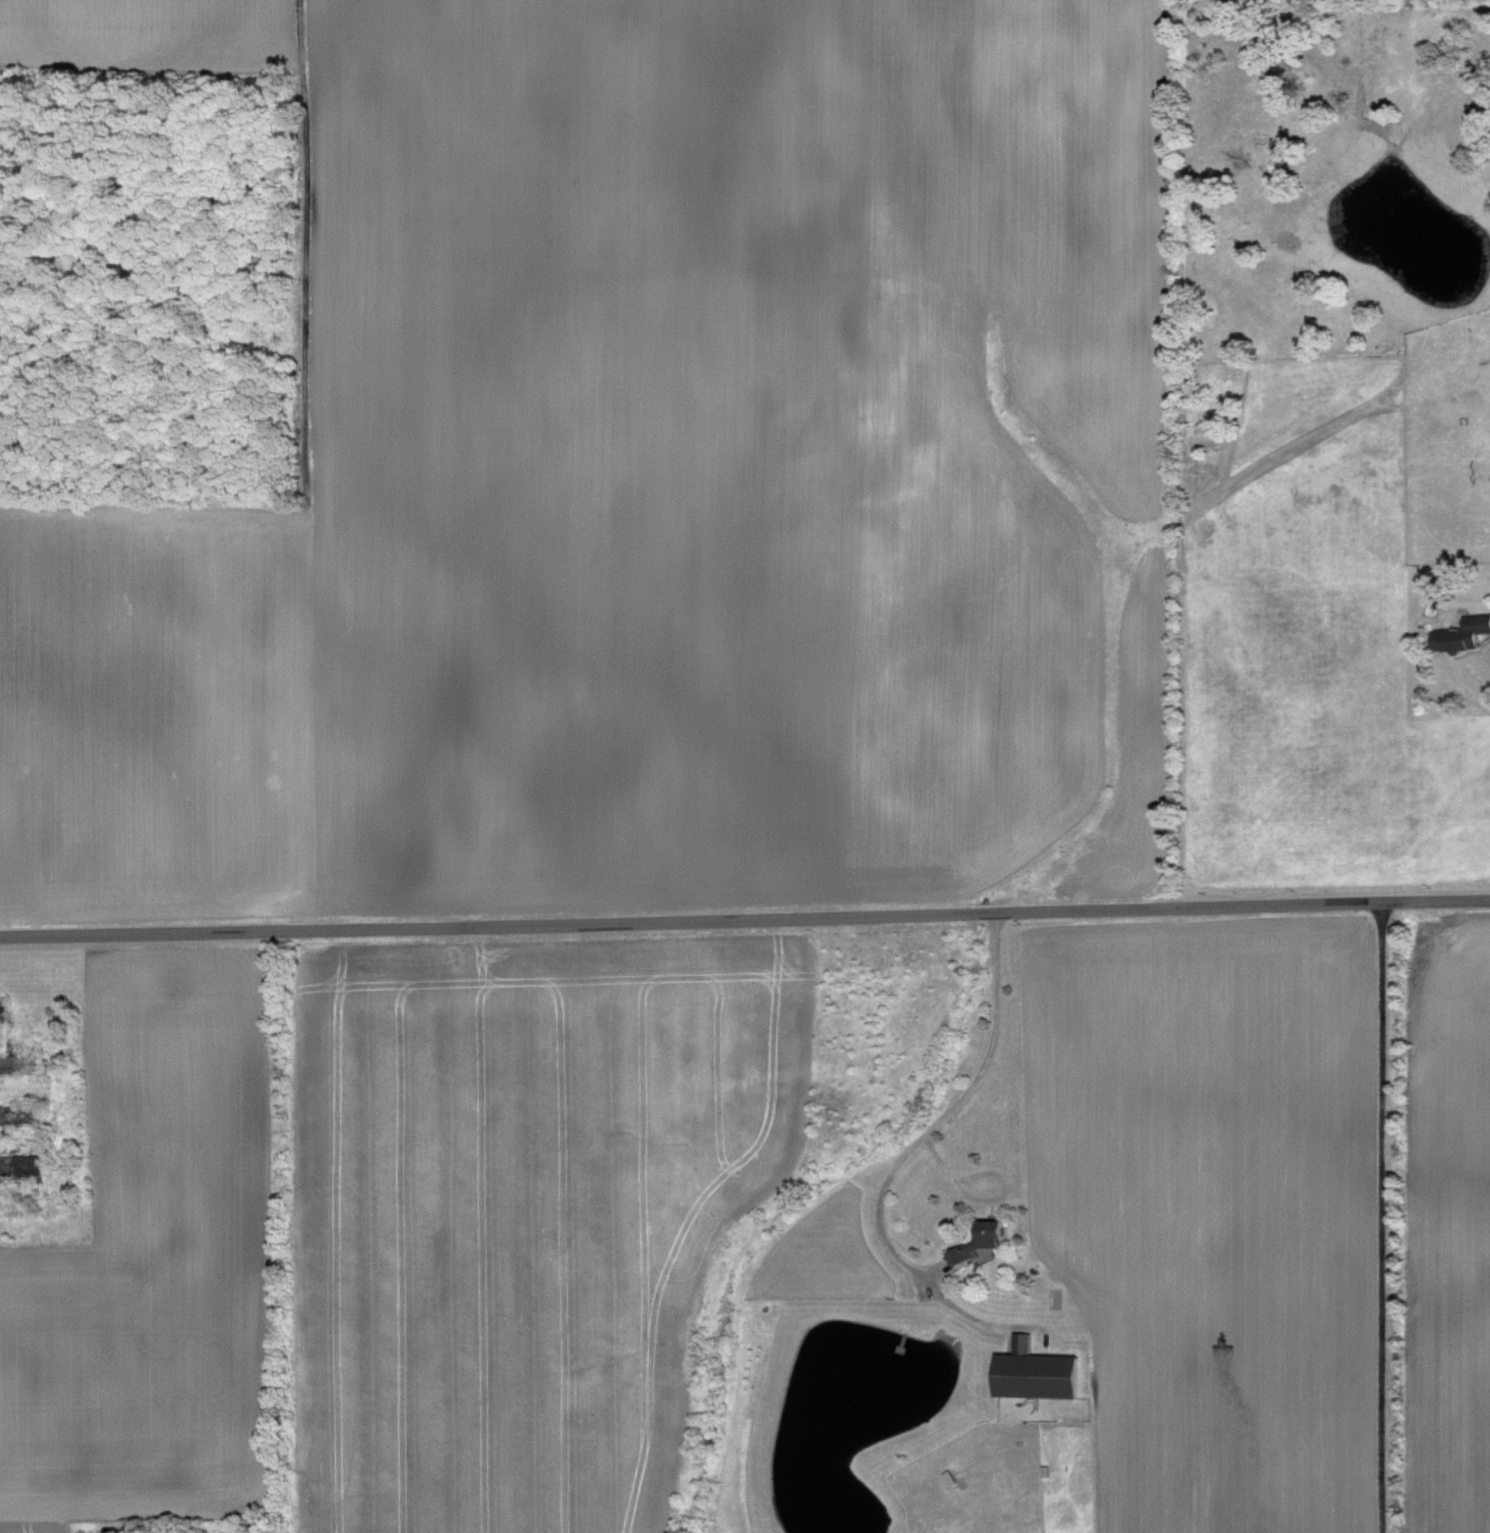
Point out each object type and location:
building: (1458, 633)
road: (1487, 646)
road: (745, 920)
building: (4, 1011)
building: (19, 1062)
road: (919, 1136)
road: (1381, 1217)
building: (978, 1239)
building: (1030, 1370)

